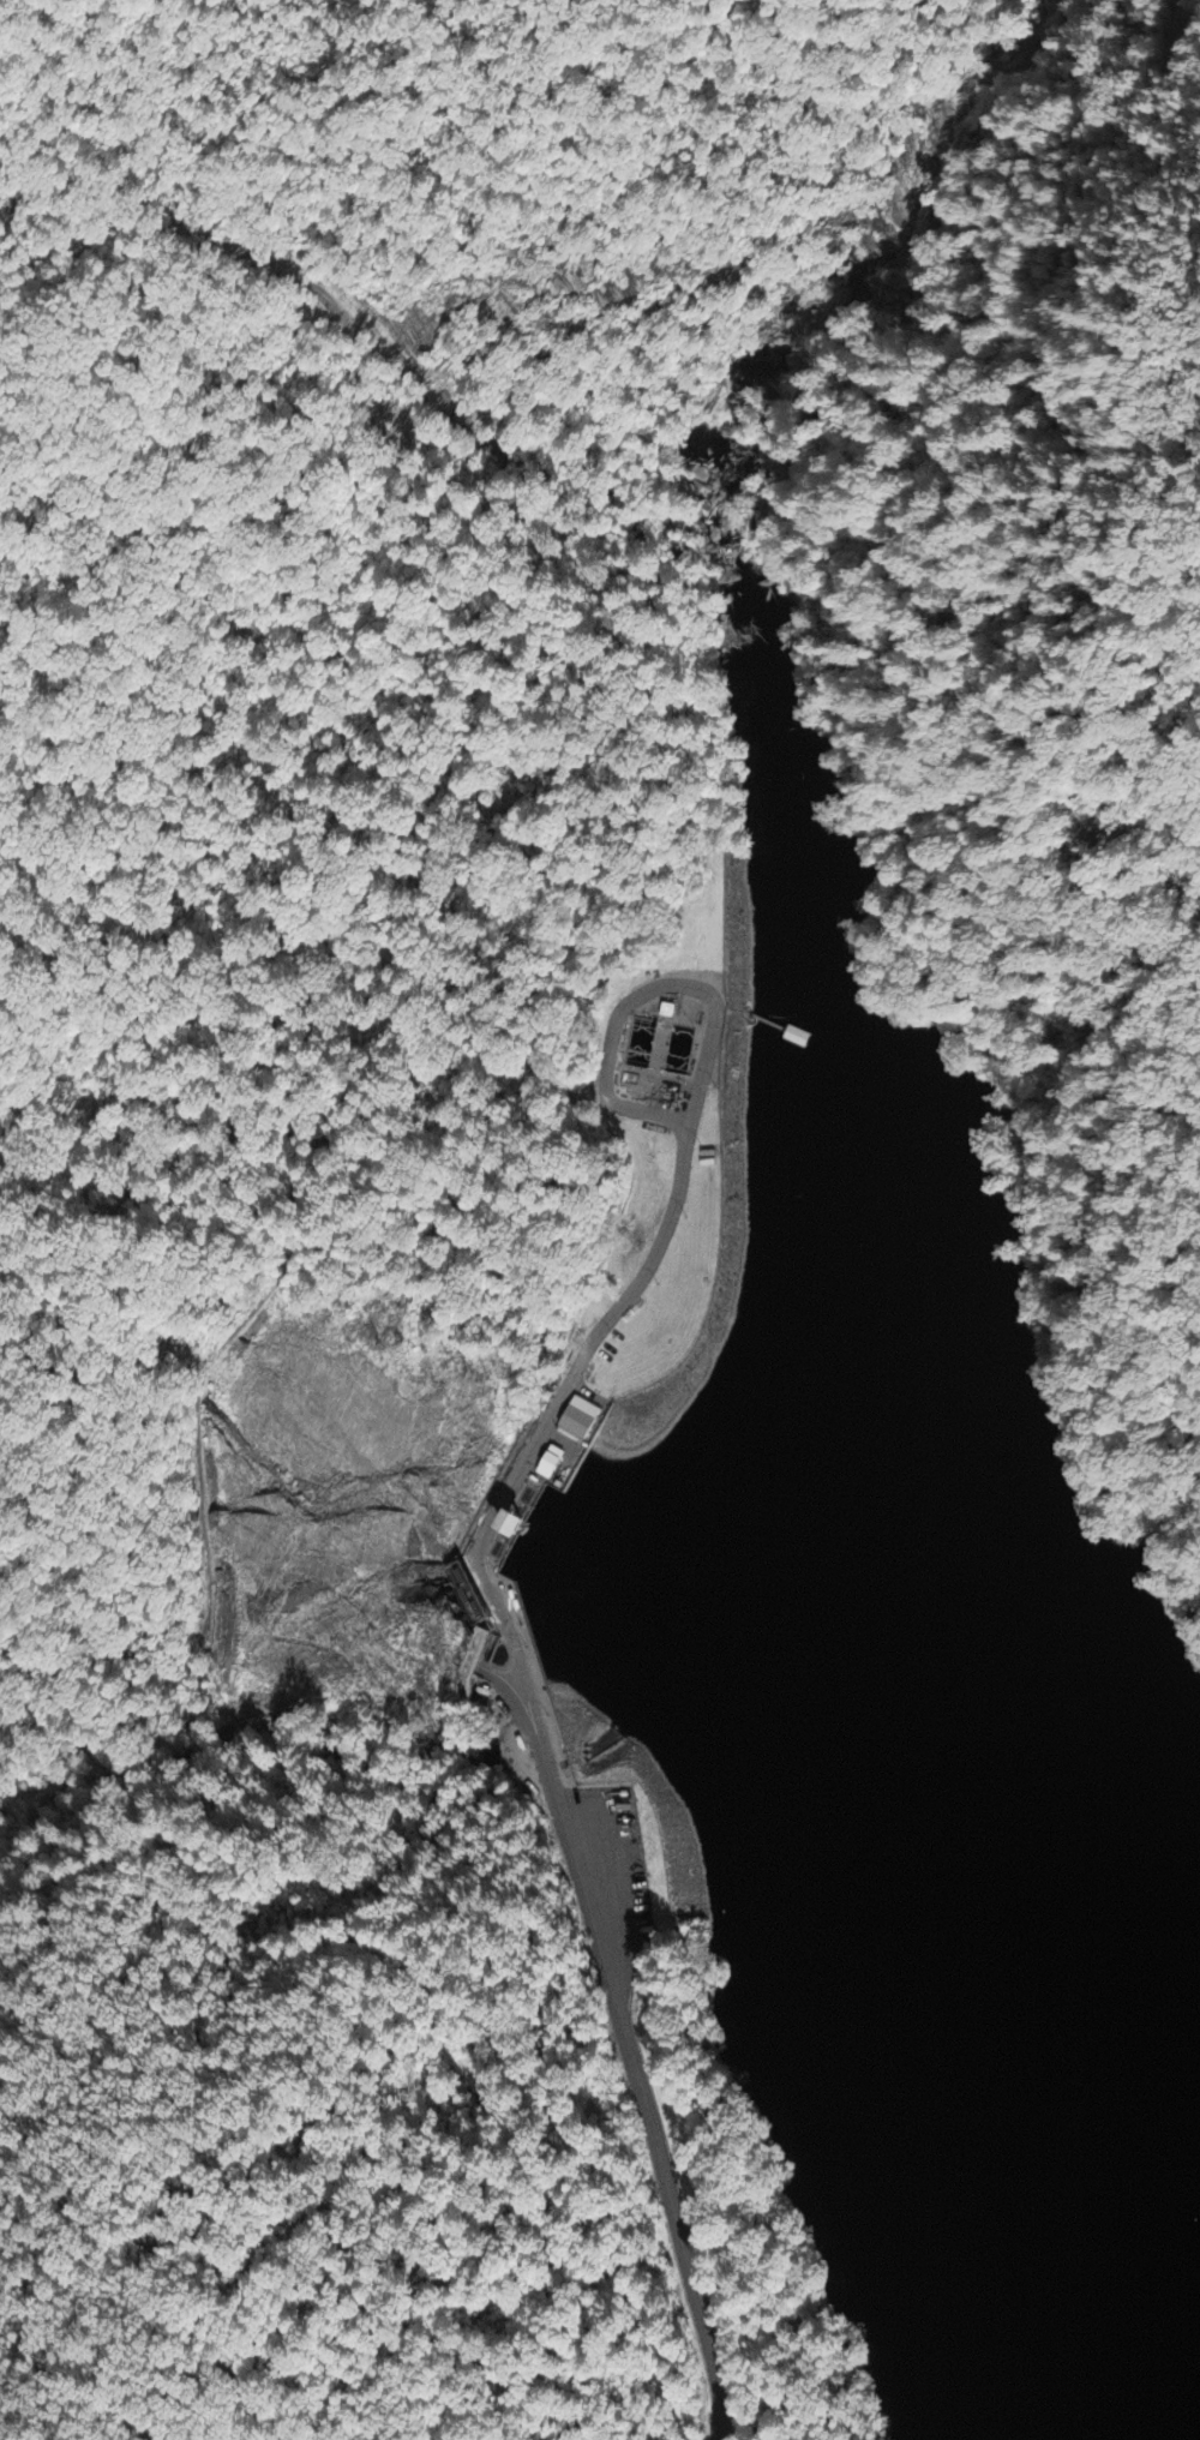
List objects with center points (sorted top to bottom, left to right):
river: (809, 335)
road: (647, 997)
building: (578, 1421)
parking lot: (576, 1441)
building: (551, 1463)
building: (515, 1524)
road: (538, 1765)
parking lot: (620, 1893)

